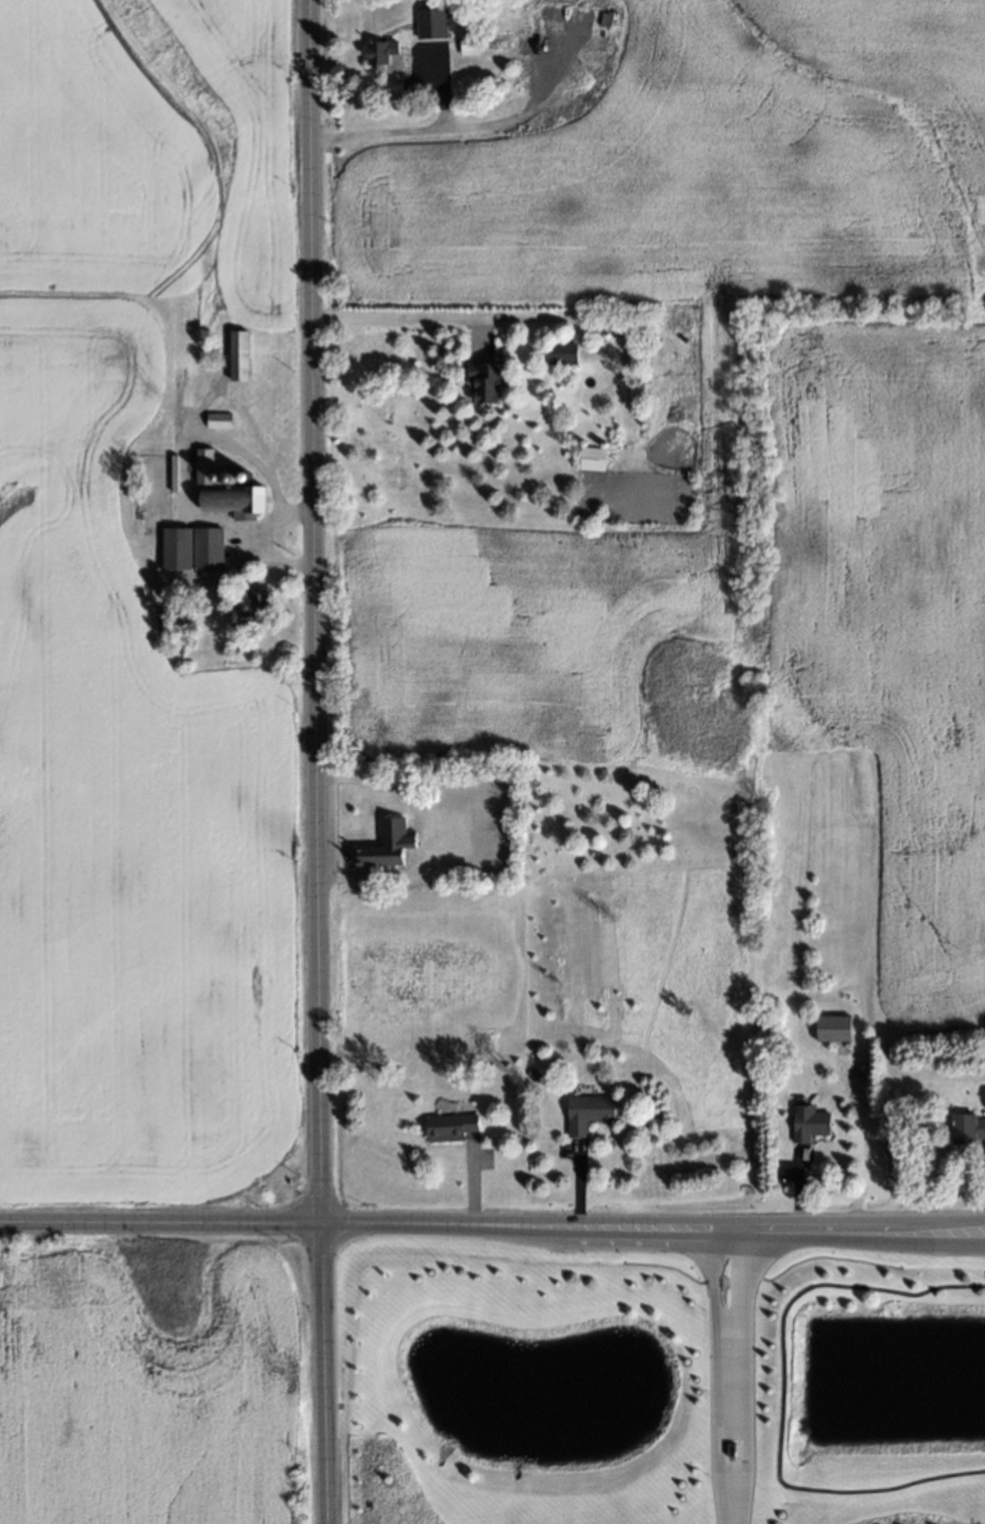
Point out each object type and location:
building: (425, 28)
building: (465, 41)
building: (377, 53)
road: (373, 132)
road: (405, 317)
building: (556, 351)
building: (235, 355)
building: (479, 378)
building: (216, 419)
building: (588, 457)
building: (202, 462)
building: (243, 475)
building: (215, 476)
building: (227, 476)
building: (234, 498)
road: (261, 537)
building: (174, 548)
building: (205, 548)
building: (250, 610)
road: (311, 762)
road: (424, 834)
building: (384, 844)
building: (829, 1025)
building: (528, 1074)
building: (509, 1082)
building: (583, 1110)
building: (805, 1120)
building: (446, 1124)
building: (965, 1127)
road: (158, 1223)
road: (949, 1223)
road: (615, 1226)
road: (949, 1234)
road: (726, 1375)
road: (774, 1388)

